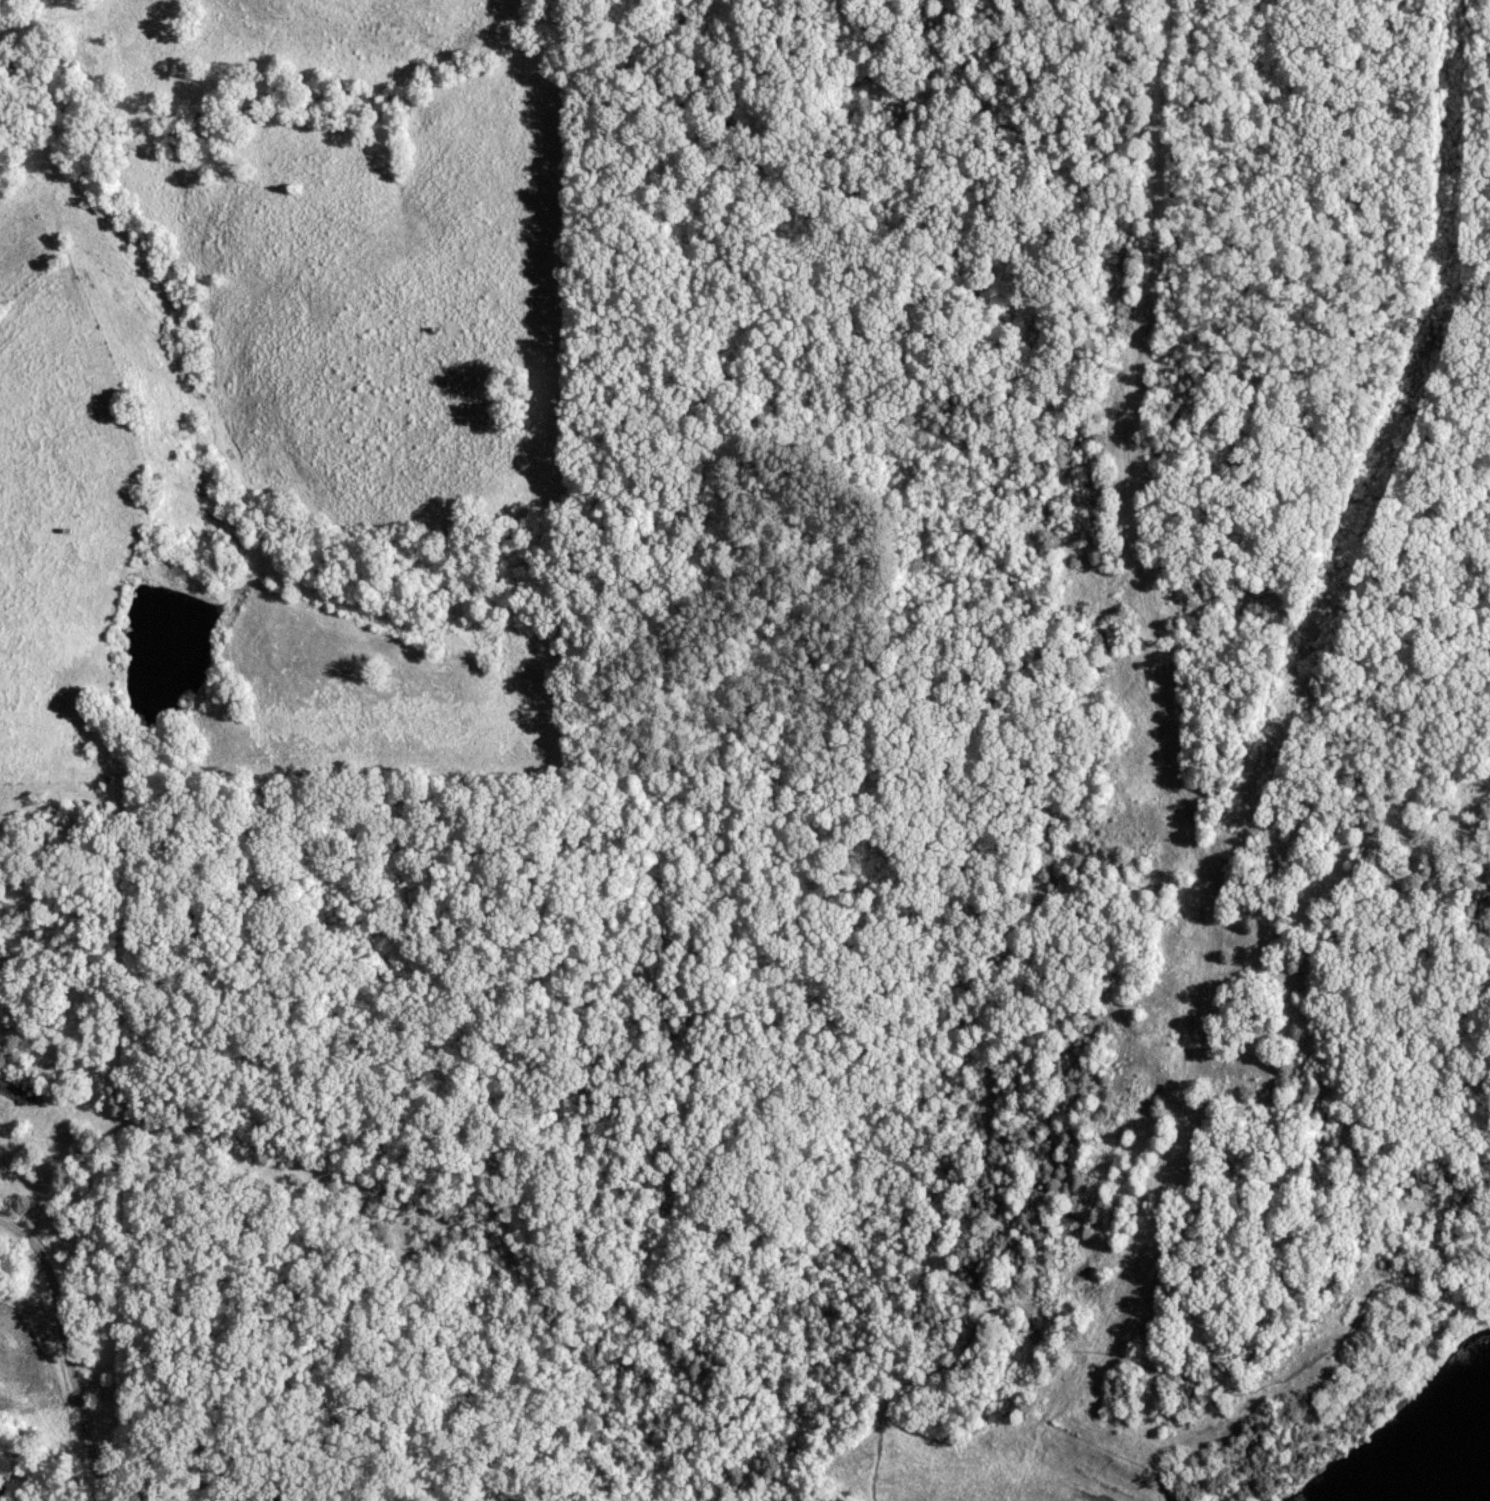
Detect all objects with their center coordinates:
road: (1149, 678)
road: (64, 1351)
road: (1139, 1360)

